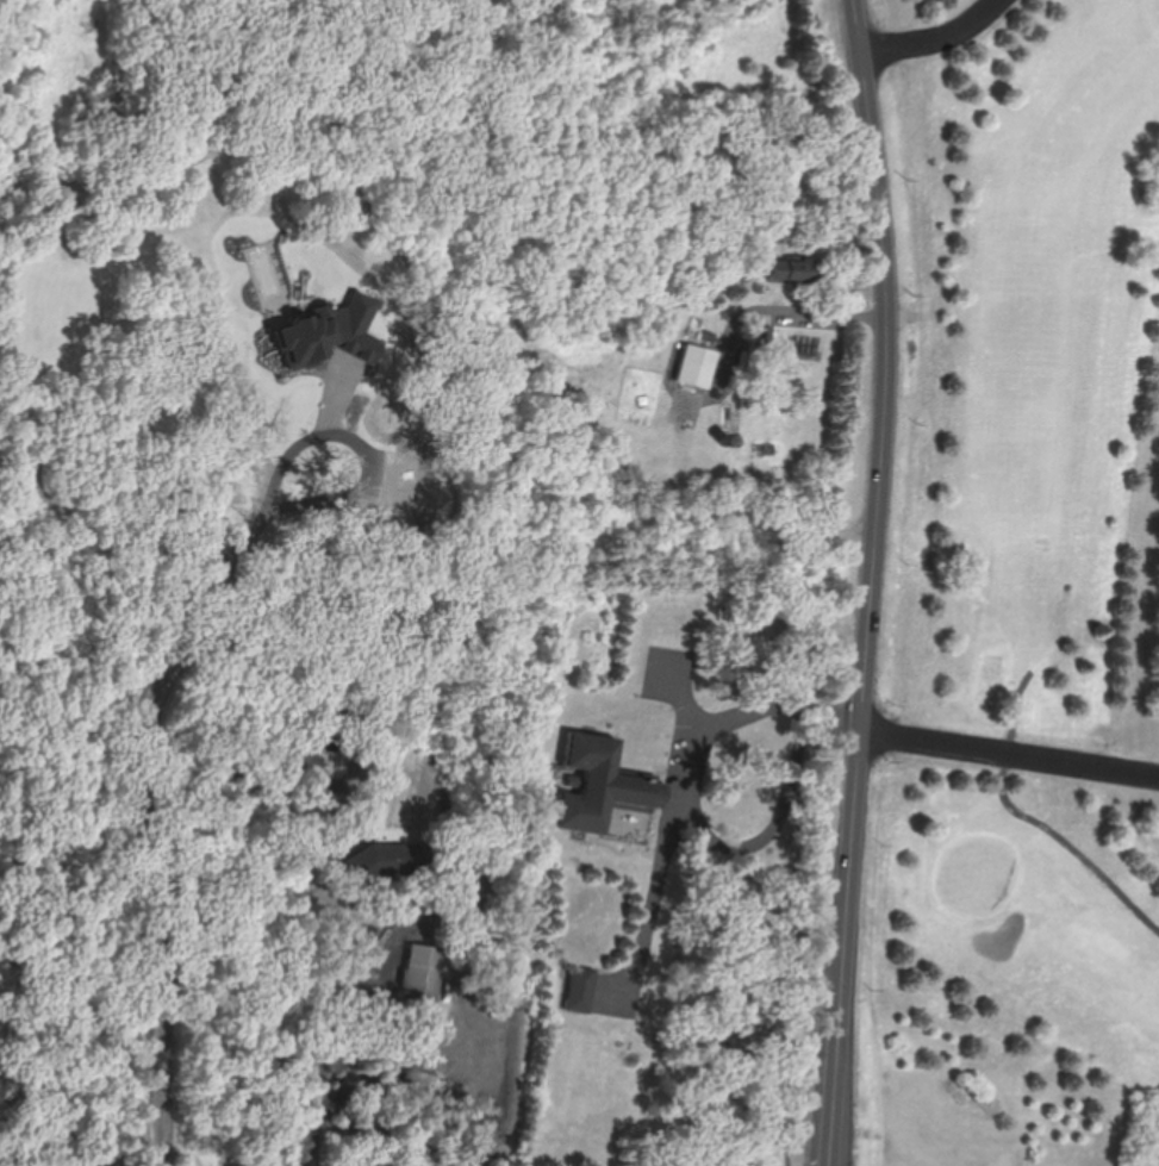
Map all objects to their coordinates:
road: (934, 37)
building: (779, 275)
road: (804, 311)
building: (692, 367)
park: (1048, 395)
road: (877, 582)
road: (1011, 755)
road: (152, 782)
building: (602, 785)
road: (693, 805)
building: (394, 859)
building: (423, 975)
park: (1022, 977)
building: (582, 989)
road: (355, 1039)

